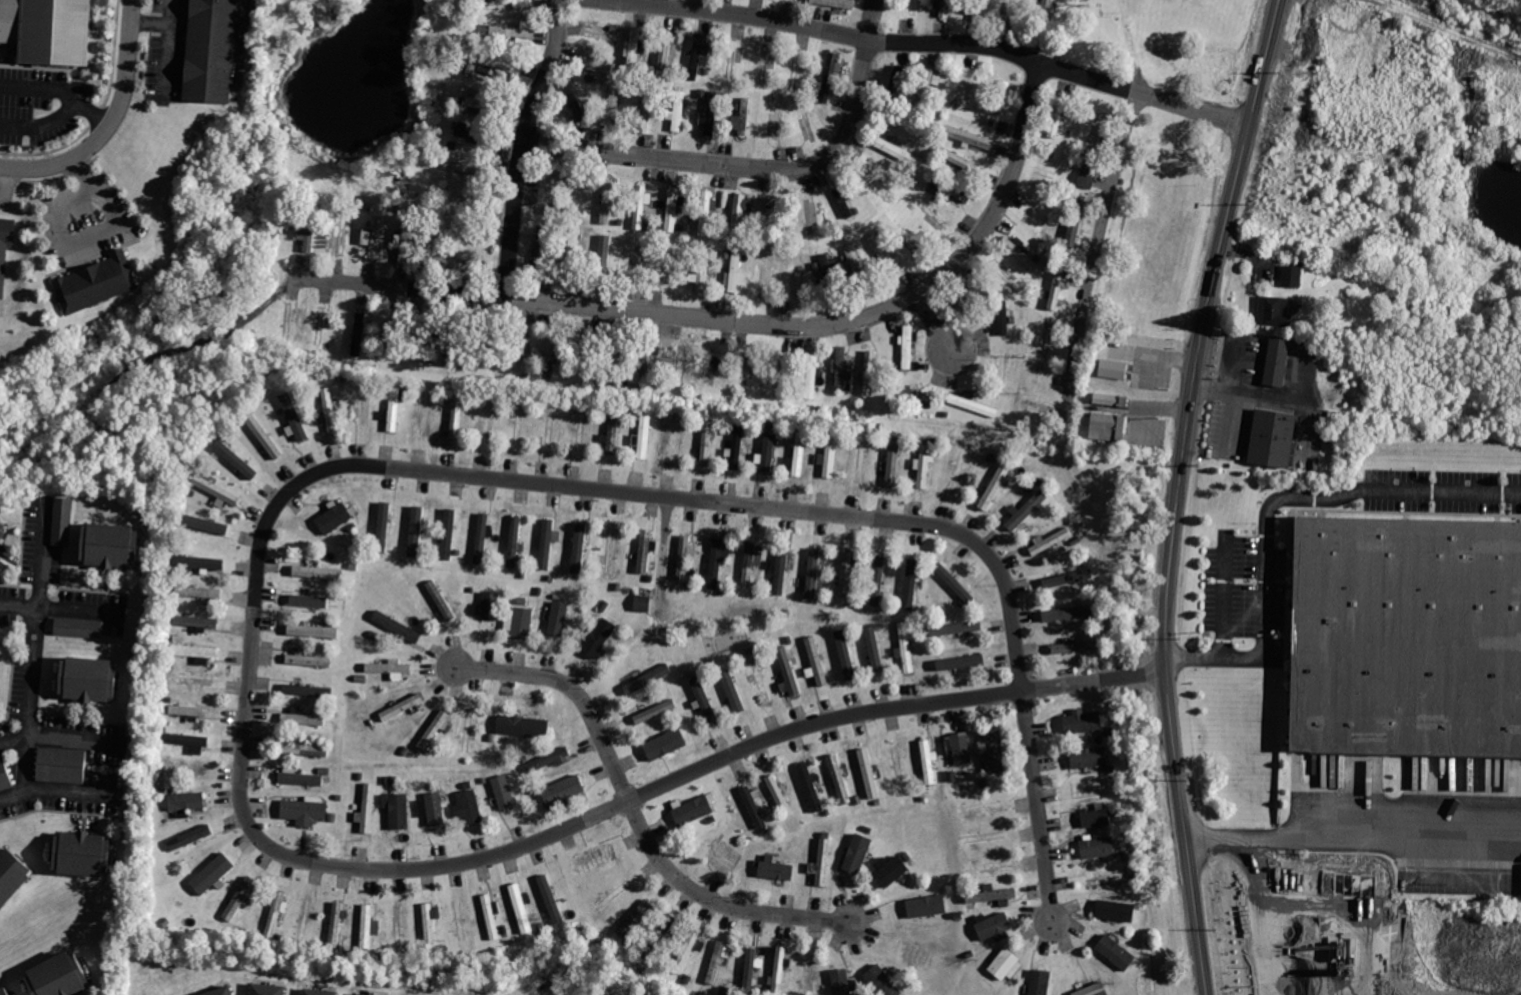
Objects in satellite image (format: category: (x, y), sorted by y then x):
building: (505, 2)
building: (837, 3)
building: (943, 9)
building: (978, 9)
building: (1045, 16)
road: (142, 23)
road: (163, 24)
building: (507, 30)
building: (48, 31)
road: (1450, 31)
building: (601, 34)
road: (922, 44)
building: (634, 46)
parking lot: (167, 50)
road: (170, 51)
building: (211, 51)
building: (667, 52)
building: (697, 55)
building: (593, 64)
building: (763, 65)
building: (495, 70)
building: (828, 76)
building: (926, 84)
road: (42, 88)
building: (894, 88)
building: (967, 93)
building: (1001, 97)
building: (575, 100)
building: (485, 103)
building: (612, 106)
building: (645, 110)
building: (679, 112)
building: (711, 115)
building: (1057, 116)
building: (743, 117)
road: (60, 119)
building: (777, 121)
road: (109, 123)
building: (473, 135)
building: (967, 137)
building: (1096, 137)
road: (522, 145)
building: (899, 151)
building: (960, 162)
building: (465, 167)
road: (759, 168)
building: (1089, 179)
road: (6, 185)
building: (877, 185)
building: (950, 188)
building: (466, 201)
building: (844, 202)
building: (607, 203)
building: (640, 208)
building: (672, 209)
building: (564, 212)
building: (706, 214)
building: (738, 215)
building: (772, 220)
building: (1075, 221)
building: (310, 228)
building: (343, 230)
road: (89, 235)
building: (374, 238)
road: (1098, 238)
building: (405, 240)
building: (5, 247)
building: (541, 250)
building: (573, 253)
building: (1018, 253)
building: (884, 254)
building: (603, 258)
building: (455, 259)
building: (856, 267)
building: (703, 268)
building: (735, 273)
building: (769, 274)
building: (1291, 275)
building: (829, 277)
building: (1010, 281)
building: (95, 283)
building: (1056, 290)
building: (967, 297)
building: (1273, 309)
building: (1004, 315)
road: (738, 322)
road: (936, 324)
building: (286, 325)
building: (322, 327)
building: (359, 334)
building: (391, 338)
building: (423, 343)
building: (452, 343)
building: (908, 347)
building: (1047, 347)
building: (517, 352)
building: (550, 354)
building: (582, 358)
building: (647, 359)
building: (615, 360)
building: (1277, 362)
building: (681, 366)
building: (841, 368)
building: (1116, 370)
building: (870, 372)
building: (812, 377)
building: (912, 397)
building: (974, 405)
building: (393, 408)
road: (1161, 408)
building: (329, 409)
building: (1048, 412)
building: (456, 415)
building: (293, 417)
building: (486, 420)
building: (549, 426)
building: (1108, 428)
building: (613, 430)
building: (263, 435)
building: (643, 436)
building: (1270, 437)
building: (676, 439)
building: (706, 443)
building: (737, 446)
building: (768, 453)
building: (799, 453)
building: (831, 453)
building: (235, 458)
building: (893, 459)
building: (924, 467)
building: (995, 485)
building: (216, 489)
road: (1178, 493)
road: (1272, 502)
building: (1026, 509)
building: (334, 518)
building: (63, 520)
building: (205, 523)
building: (382, 526)
building: (3, 528)
building: (416, 531)
building: (447, 533)
building: (482, 538)
building: (1049, 539)
building: (514, 542)
building: (545, 543)
building: (111, 544)
building: (578, 546)
building: (646, 550)
building: (612, 551)
building: (682, 556)
building: (201, 562)
building: (716, 562)
building: (749, 563)
building: (781, 568)
building: (319, 571)
building: (846, 572)
building: (813, 573)
building: (1064, 577)
building: (880, 580)
building: (910, 582)
building: (955, 582)
building: (199, 590)
building: (643, 598)
building: (439, 599)
building: (308, 600)
road: (1223, 600)
building: (491, 605)
road: (21, 608)
building: (1070, 611)
road: (81, 612)
building: (559, 617)
building: (196, 622)
building: (522, 623)
building: (397, 625)
building: (81, 627)
building: (957, 627)
building: (313, 631)
building: (1408, 638)
building: (599, 639)
road: (39, 645)
building: (1076, 646)
building: (905, 647)
building: (193, 650)
building: (876, 650)
building: (846, 655)
building: (309, 658)
building: (818, 661)
building: (960, 662)
building: (388, 666)
building: (789, 669)
building: (760, 676)
building: (89, 678)
building: (647, 678)
building: (191, 681)
building: (307, 687)
building: (732, 690)
road: (573, 691)
building: (704, 701)
road: (247, 704)
building: (402, 706)
building: (187, 709)
building: (658, 710)
building: (305, 718)
building: (1083, 723)
building: (523, 725)
building: (434, 730)
building: (187, 738)
road: (62, 739)
building: (667, 742)
building: (948, 745)
building: (961, 747)
building: (304, 749)
building: (995, 751)
building: (1089, 755)
building: (546, 758)
building: (929, 762)
building: (62, 764)
building: (900, 766)
building: (867, 772)
building: (4, 773)
building: (301, 779)
building: (838, 779)
building: (811, 786)
road: (59, 792)
building: (505, 793)
building: (562, 793)
building: (780, 795)
building: (188, 801)
building: (754, 806)
building: (978, 807)
road: (1038, 807)
building: (368, 808)
building: (470, 808)
building: (434, 809)
building: (303, 810)
building: (400, 811)
building: (694, 812)
building: (1095, 817)
road: (1353, 830)
building: (189, 835)
building: (1099, 846)
building: (81, 853)
building: (726, 854)
building: (857, 855)
building: (595, 860)
building: (824, 862)
building: (989, 866)
building: (777, 868)
building: (892, 869)
building: (211, 872)
building: (11, 876)
building: (1103, 879)
building: (616, 891)
building: (991, 895)
building: (240, 898)
building: (551, 900)
road: (715, 902)
building: (925, 905)
building: (522, 907)
building: (1114, 908)
building: (275, 915)
building: (491, 916)
building: (634, 916)
building: (334, 926)
building: (430, 926)
building: (995, 926)
building: (367, 929)
building: (658, 936)
building: (1114, 950)
building: (687, 953)
building: (716, 961)
building: (1004, 964)
building: (780, 969)
building: (749, 970)
building: (810, 972)
building: (58, 975)
building: (842, 979)
building: (884, 979)
building: (1041, 982)
building: (266, 988)
building: (5, 989)
building: (1093, 989)
building: (218, 990)
building: (319, 990)
building: (367, 994)

